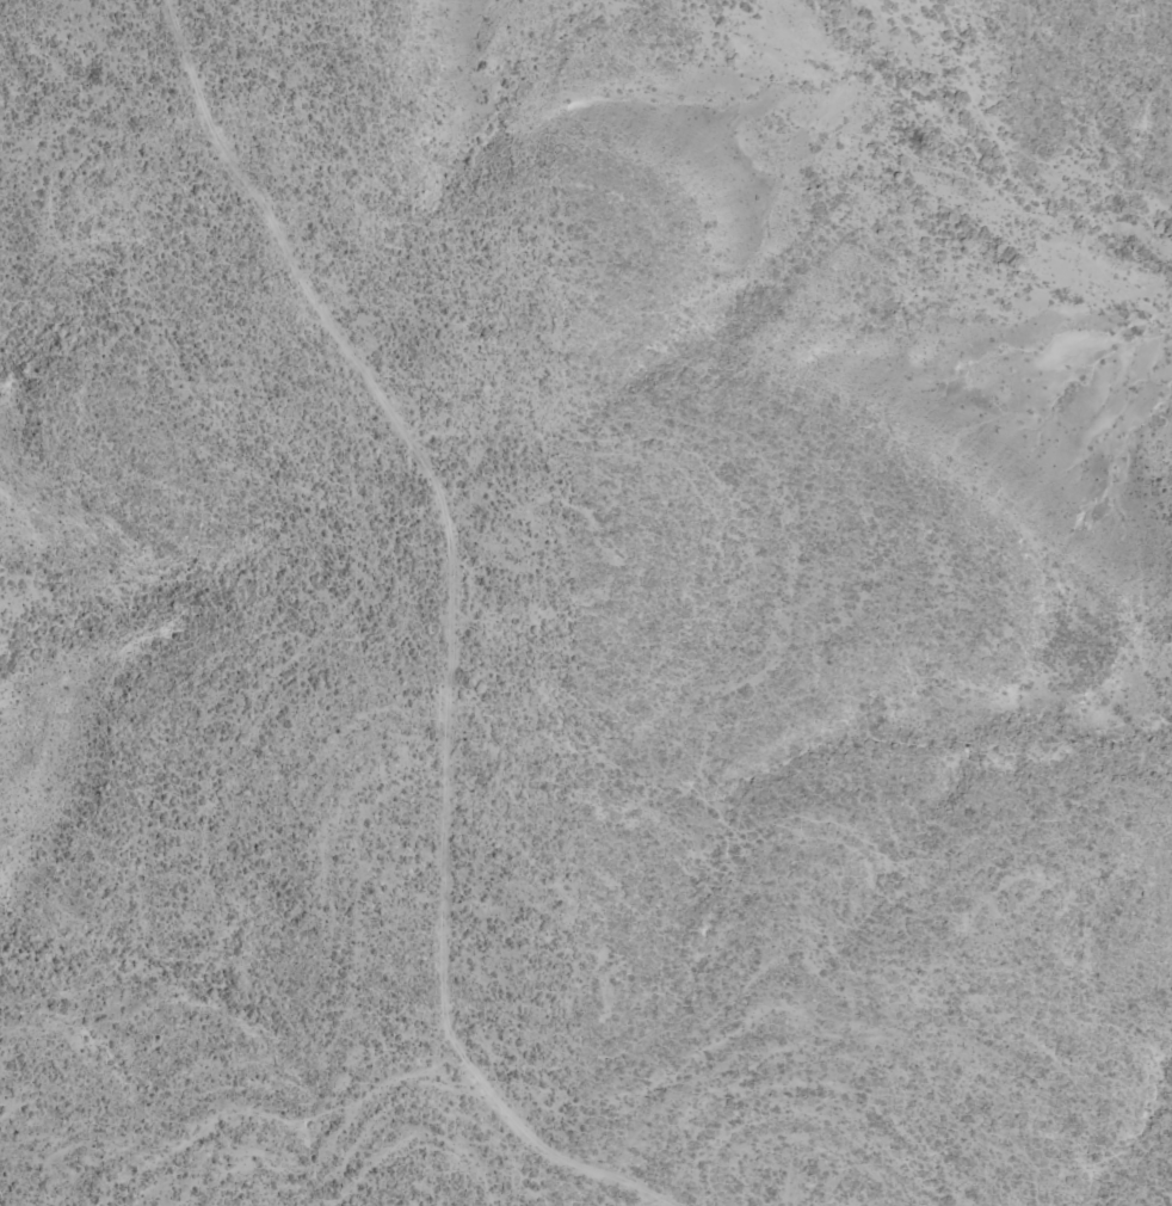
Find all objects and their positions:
road: (449, 632)
road: (661, 1202)

